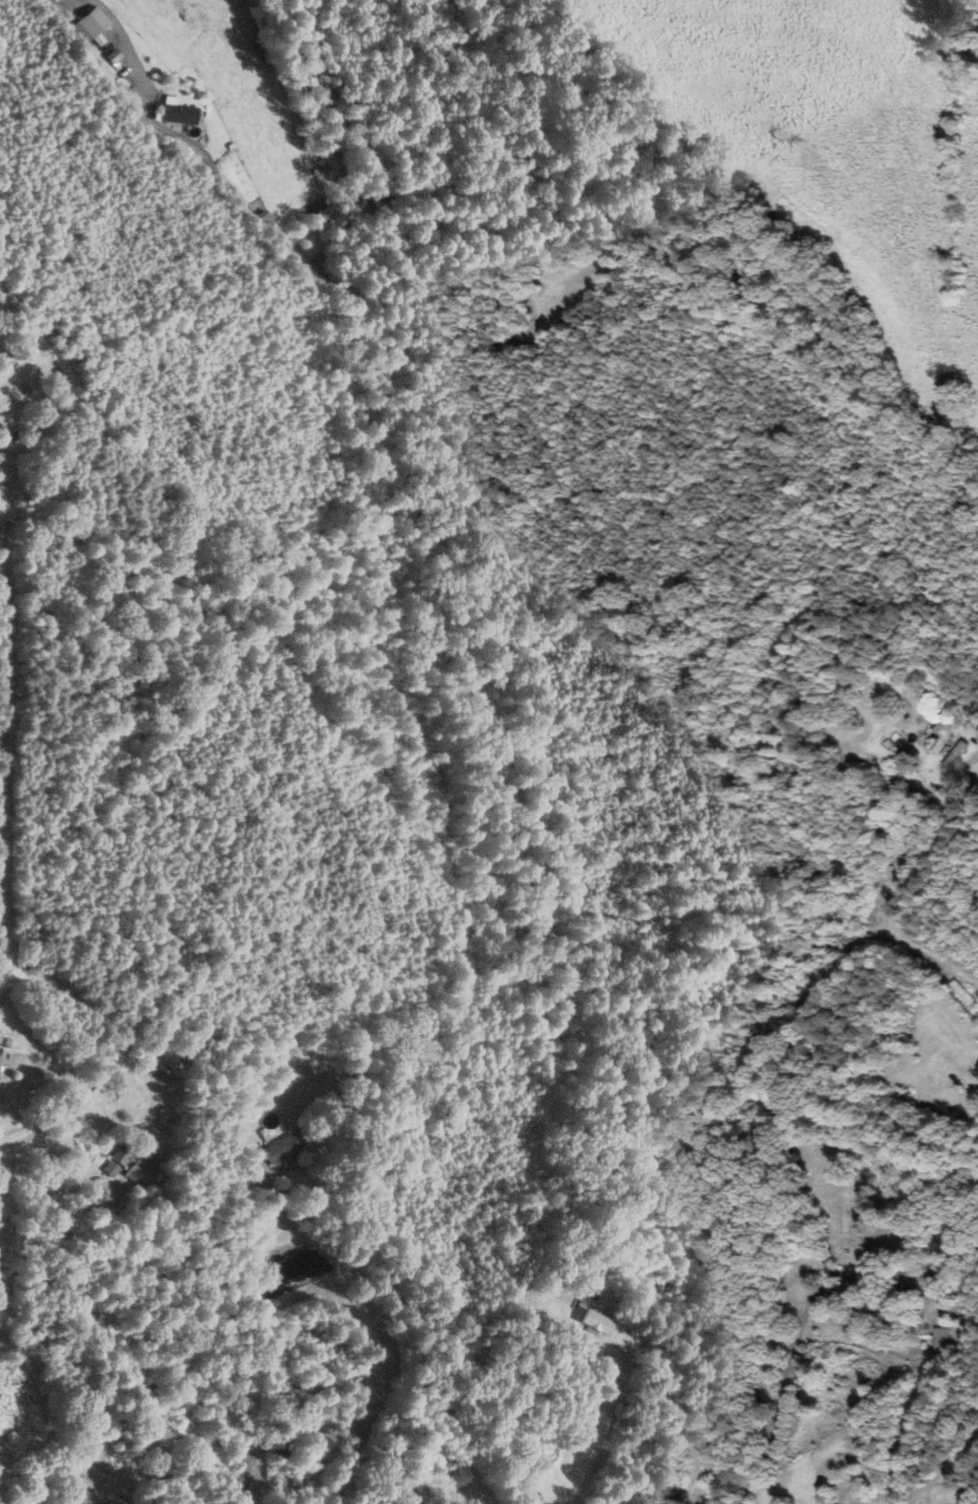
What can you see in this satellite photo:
building: (0, 1049)
building: (285, 1148)
building: (125, 1153)
building: (146, 1173)
building: (915, 1279)
building: (600, 1322)
building: (946, 1337)
building: (179, 1423)
building: (285, 1446)

